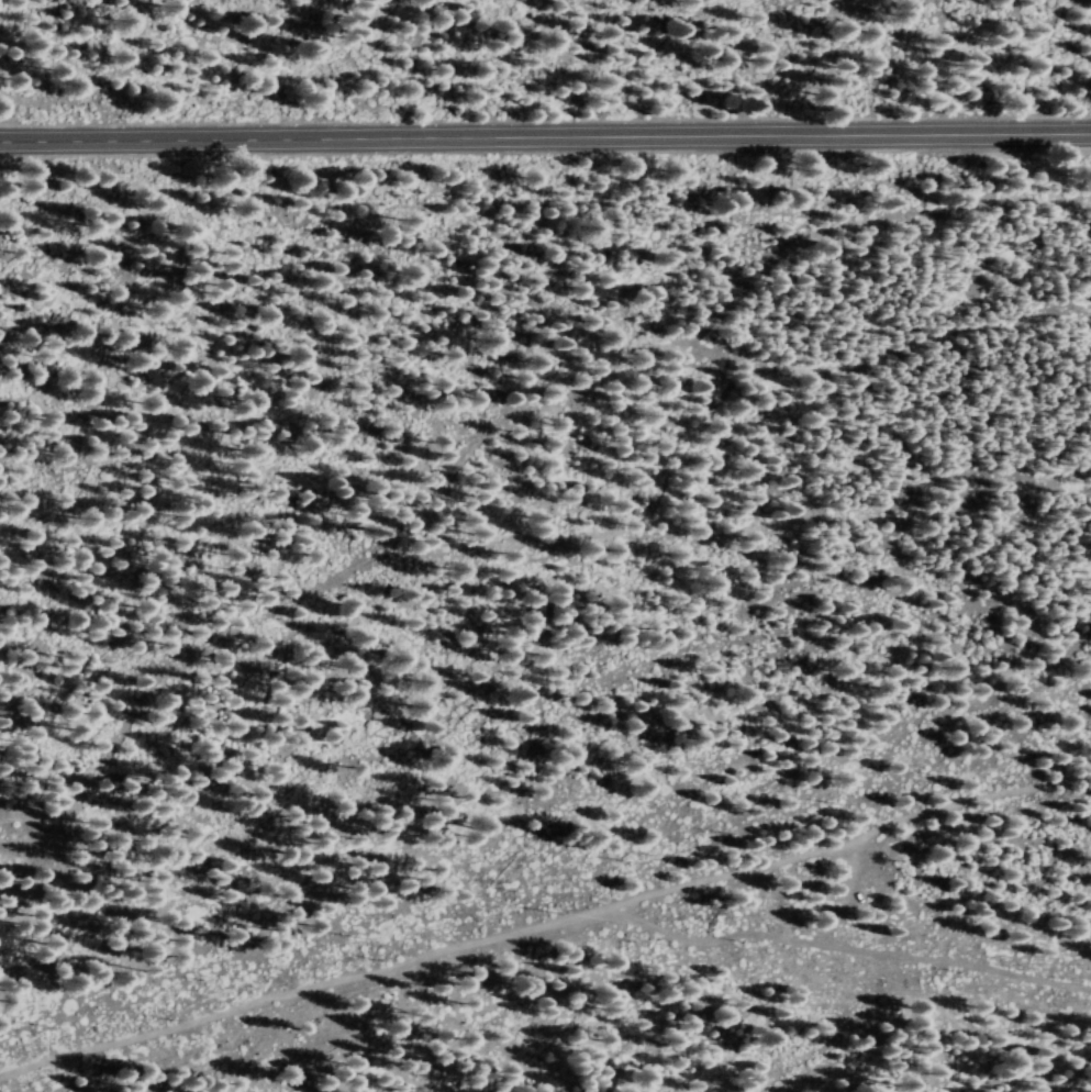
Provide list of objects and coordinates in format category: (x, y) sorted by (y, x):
road: (545, 131)

